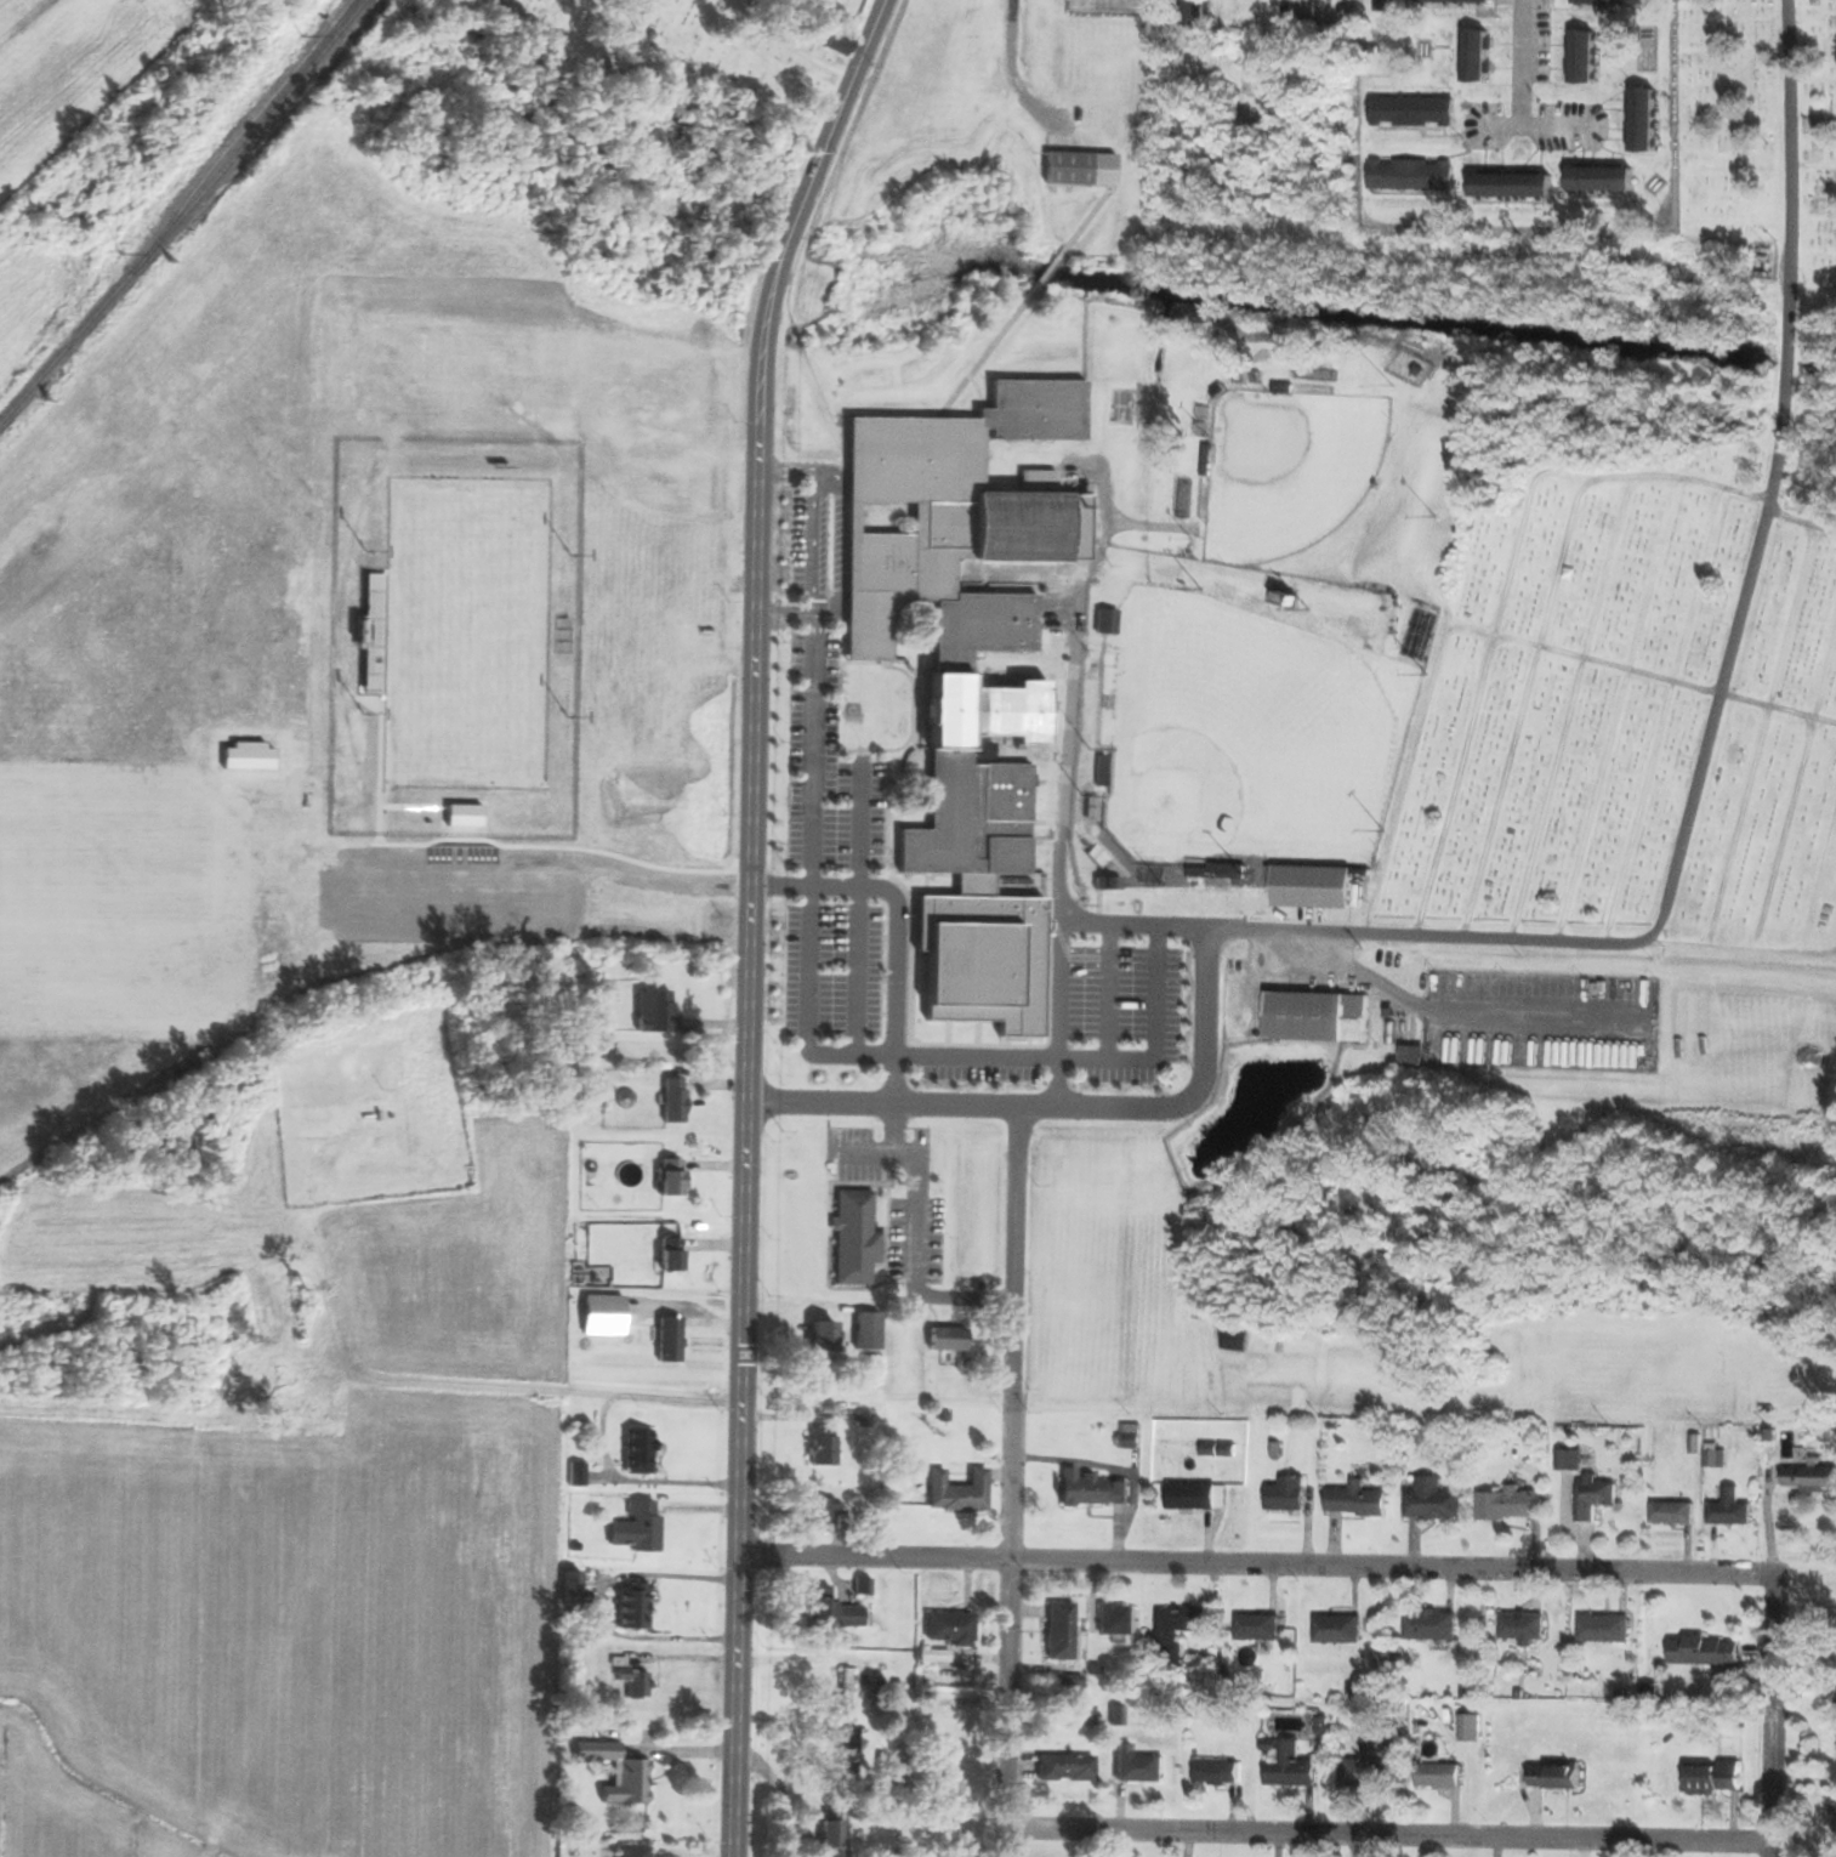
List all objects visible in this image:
building: (1463, 0)
building: (1614, 1)
building: (1283, 2)
building: (1387, 5)
building: (1235, 6)
building: (1196, 12)
building: (1309, 12)
power tower: (302, 34)
building: (839, 44)
building: (1479, 55)
building: (1587, 56)
road: (1520, 67)
building: (1415, 110)
railway: (254, 118)
building: (1647, 120)
road: (1531, 132)
building: (1081, 167)
building: (1414, 175)
building: (1605, 178)
building: (1516, 186)
railway: (183, 212)
power tower: (121, 252)
road: (774, 299)
park: (1289, 468)
road: (788, 470)
road: (1777, 477)
road: (814, 541)
building: (1283, 609)
building: (1108, 621)
building: (373, 632)
park: (466, 634)
building: (561, 635)
stadium: (456, 637)
building: (966, 675)
park: (1630, 708)
road: (813, 721)
park: (1246, 736)
building: (246, 756)
road: (381, 763)
road: (413, 806)
building: (464, 814)
road: (1063, 818)
road: (484, 830)
road: (562, 847)
road: (547, 864)
building: (1312, 886)
parking lot: (460, 892)
road: (858, 905)
road: (1139, 922)
road: (897, 926)
road: (1109, 990)
road: (807, 1010)
building: (656, 1011)
building: (1320, 1017)
road: (1207, 1023)
road: (1156, 1040)
road: (1000, 1057)
building: (675, 1101)
building: (671, 1177)
building: (598, 1231)
road: (743, 1237)
building: (857, 1237)
road: (914, 1242)
building: (671, 1255)
building: (949, 1339)
building: (671, 1340)
building: (824, 1341)
building: (1132, 1436)
building: (824, 1448)
building: (640, 1453)
building: (1717, 1460)
building: (1571, 1461)
building: (578, 1475)
road: (1011, 1480)
building: (1812, 1481)
building: (1095, 1490)
building: (960, 1493)
building: (1289, 1497)
building: (1194, 1498)
building: (1597, 1498)
building: (1359, 1501)
building: (1434, 1501)
building: (1513, 1505)
building: (1733, 1510)
building: (1675, 1514)
building: (823, 1516)
building: (638, 1529)
road: (1255, 1564)
building: (574, 1589)
building: (635, 1603)
building: (832, 1609)
building: (1119, 1619)
building: (1433, 1625)
building: (1260, 1626)
building: (951, 1628)
building: (1524, 1628)
building: (1340, 1629)
building: (1605, 1629)
building: (1062, 1630)
building: (1180, 1630)
building: (1707, 1651)
building: (936, 1657)
building: (636, 1682)
building: (847, 1690)
building: (896, 1705)
building: (1080, 1715)
road: (1769, 1717)
building: (1472, 1727)
building: (851, 1739)
building: (1372, 1762)
building: (1139, 1765)
building: (1068, 1767)
building: (1292, 1767)
building: (902, 1768)
building: (620, 1772)
building: (1220, 1772)
building: (1442, 1776)
building: (1558, 1776)
building: (1716, 1777)
building: (835, 1834)
road: (1389, 1836)
building: (633, 1851)

